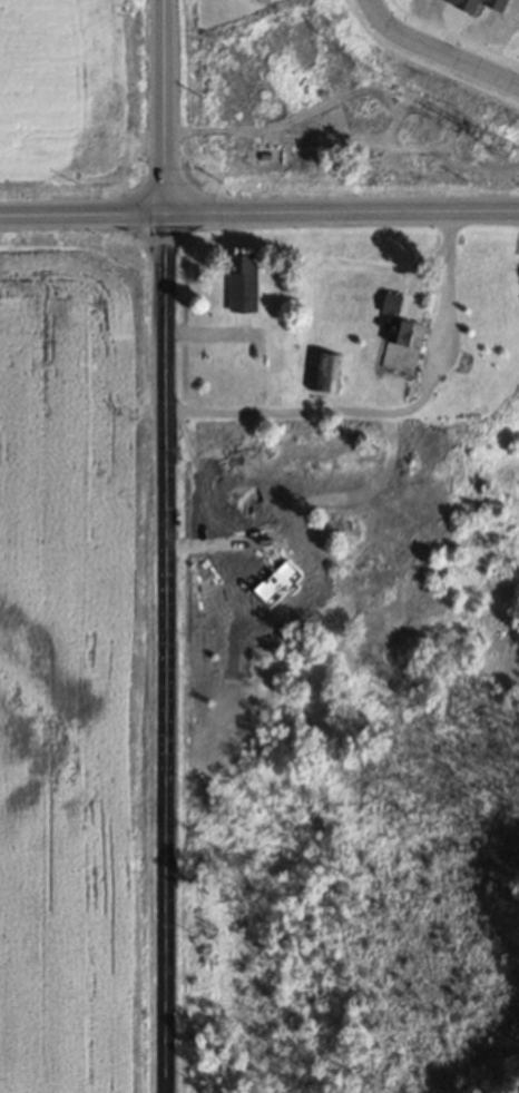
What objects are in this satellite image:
road: (437, 51)
road: (165, 106)
power tower: (494, 147)
road: (259, 213)
building: (239, 283)
building: (390, 335)
building: (322, 372)
road: (167, 653)

